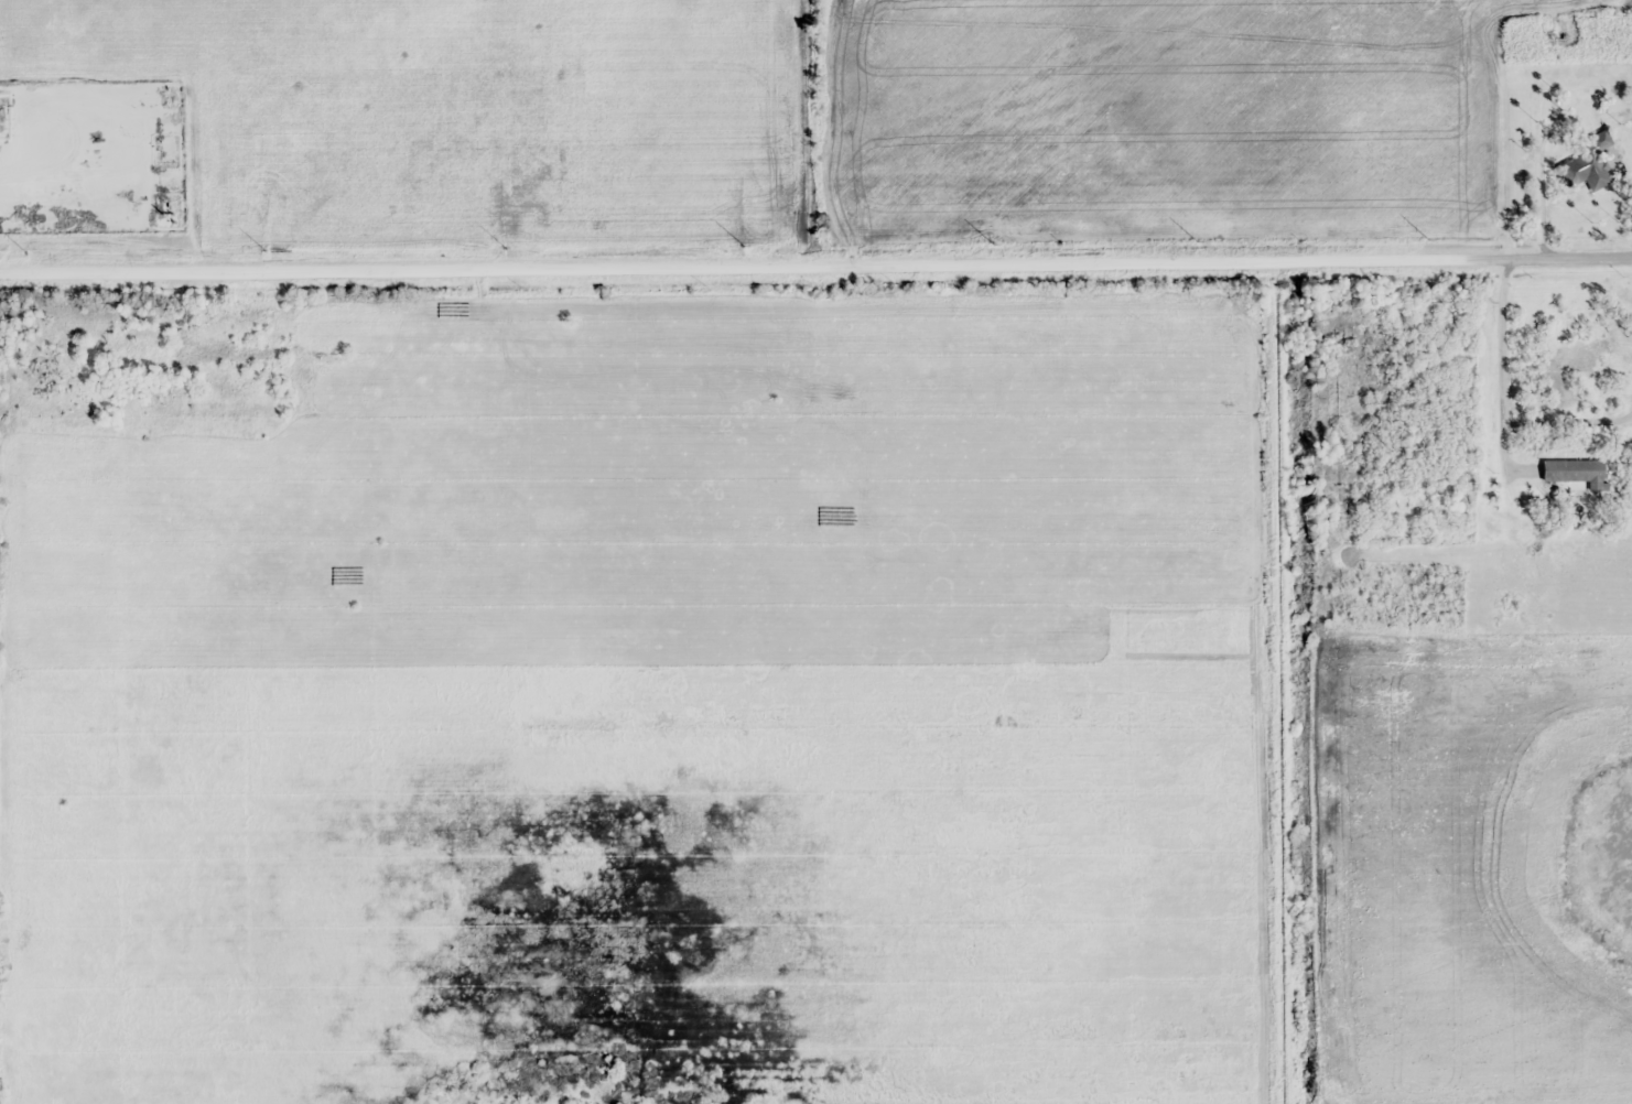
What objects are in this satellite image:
building: (1585, 170)
road: (815, 258)
building: (1570, 470)

